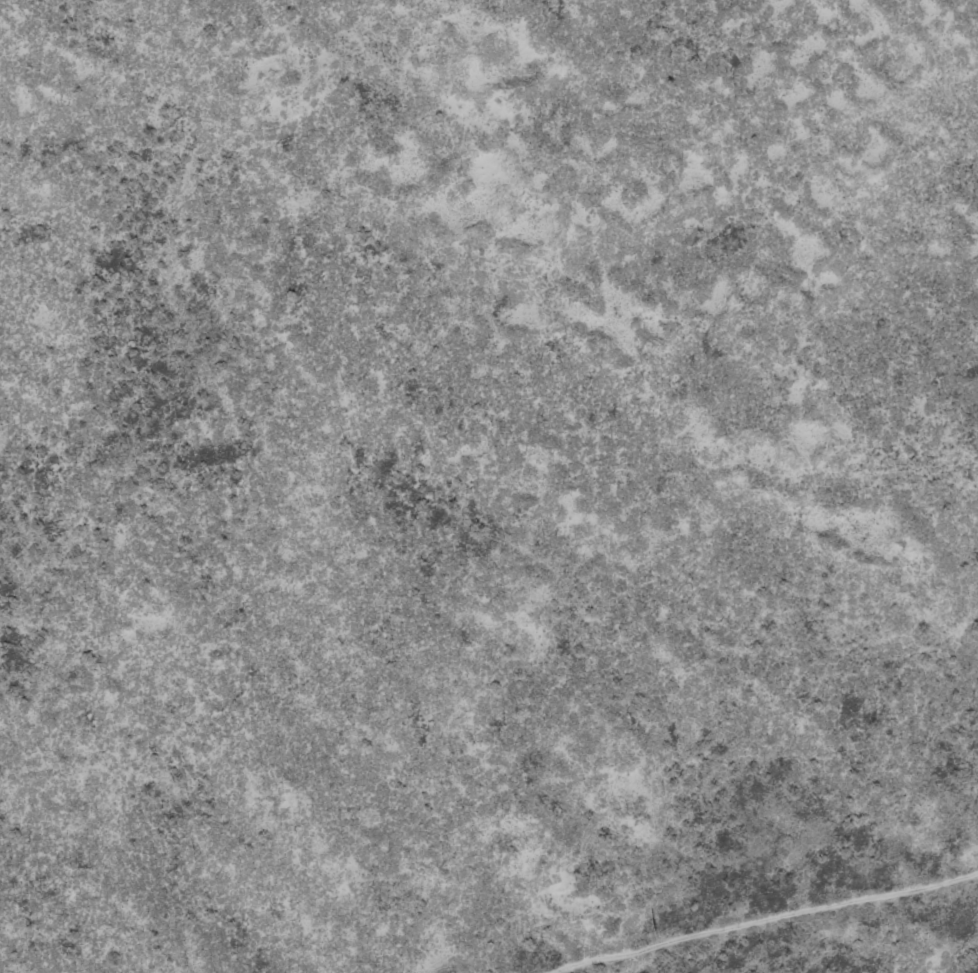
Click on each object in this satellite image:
power tower: (656, 936)

